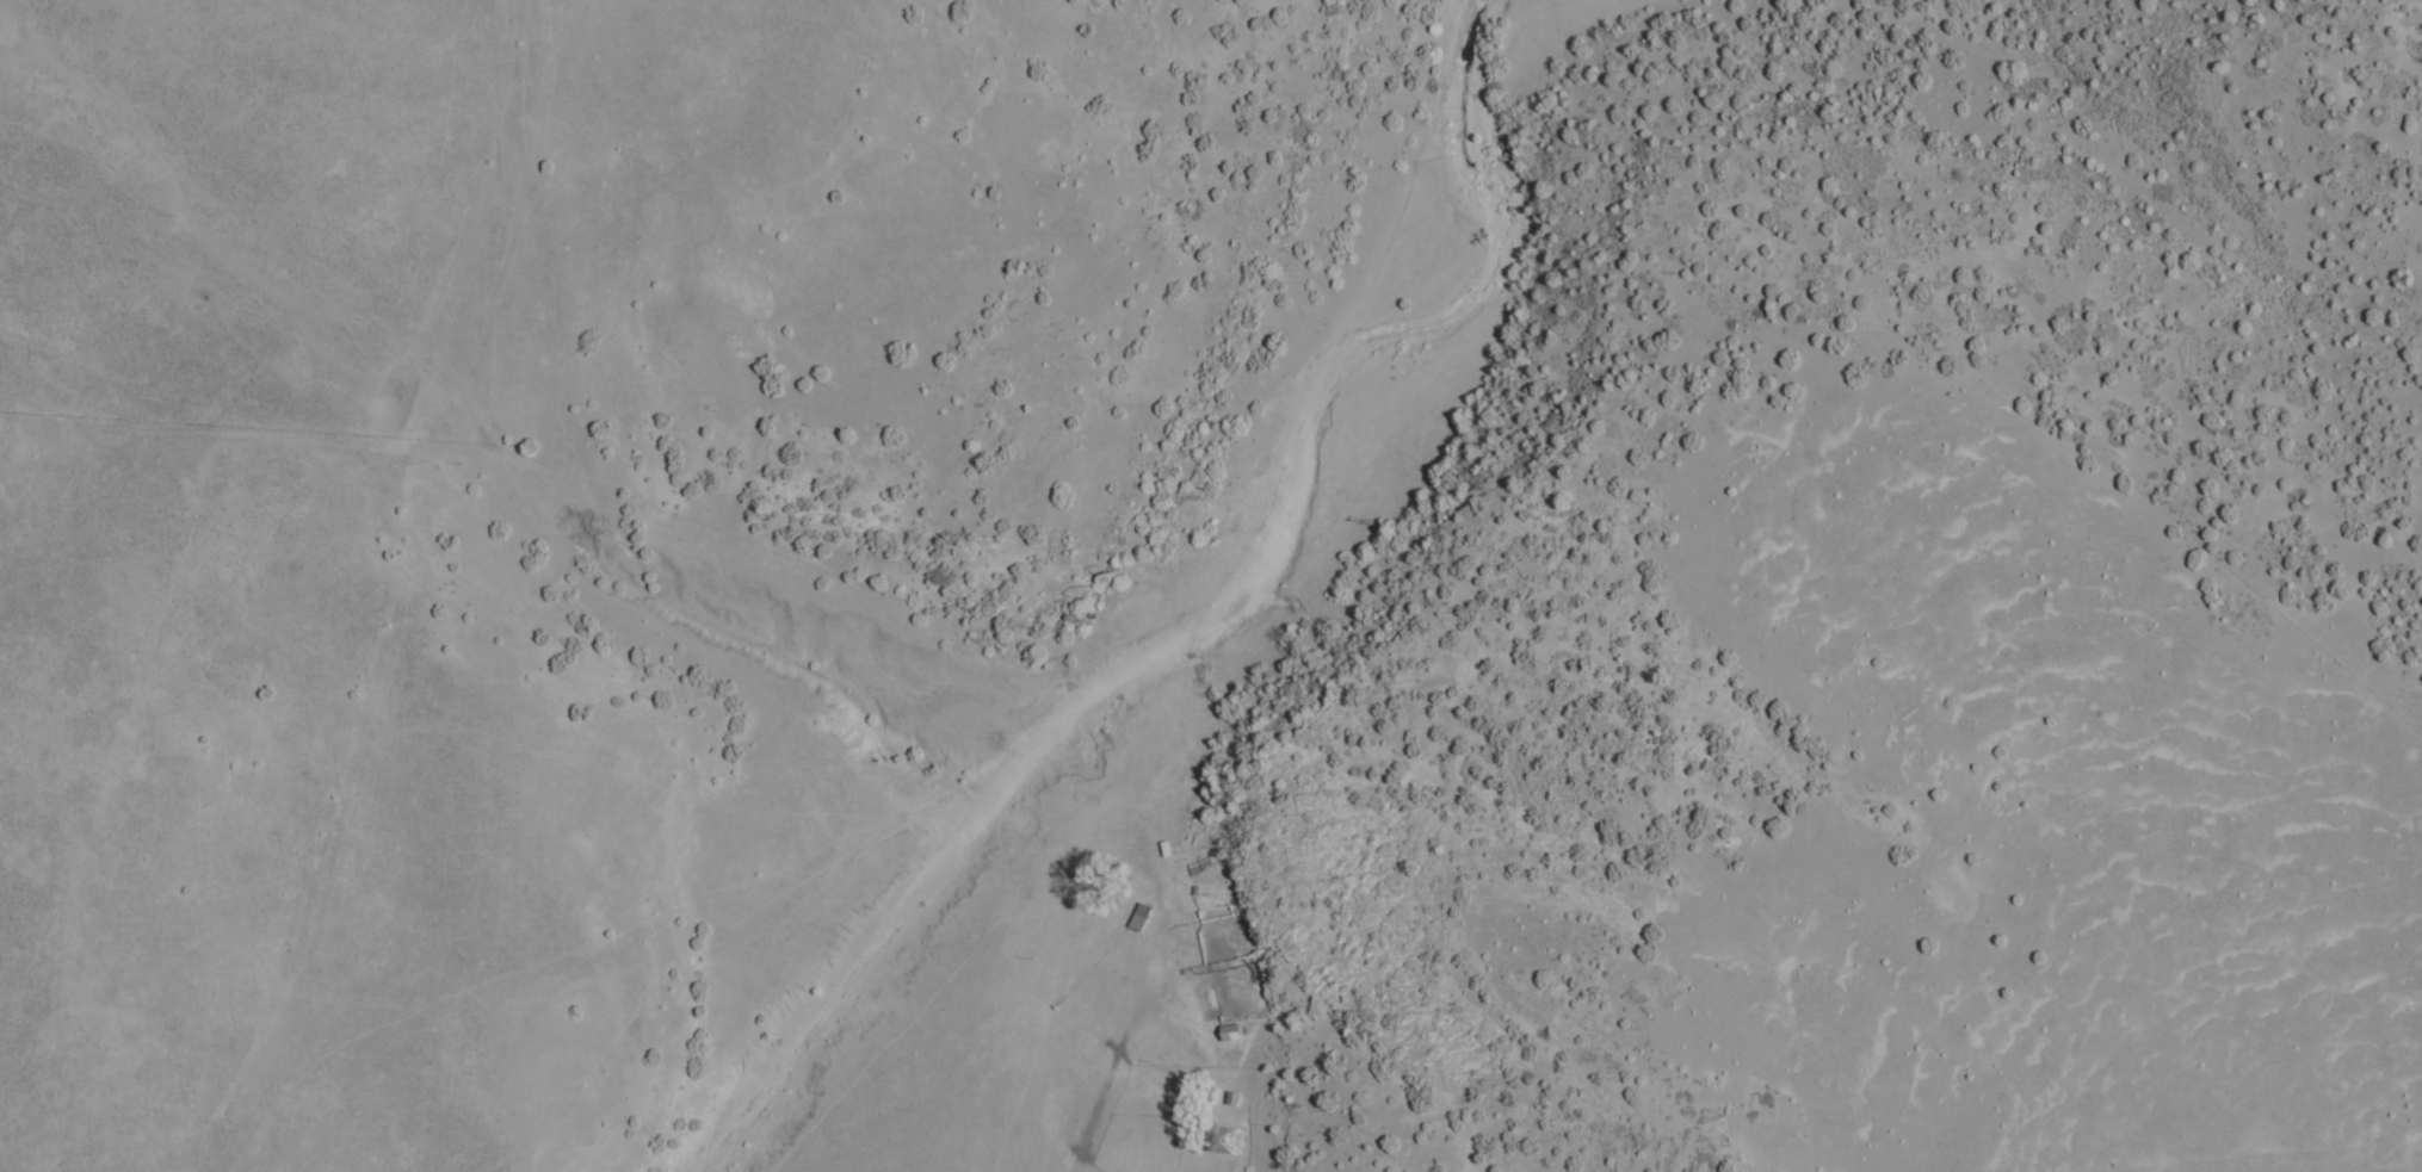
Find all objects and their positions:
road: (379, 593)

